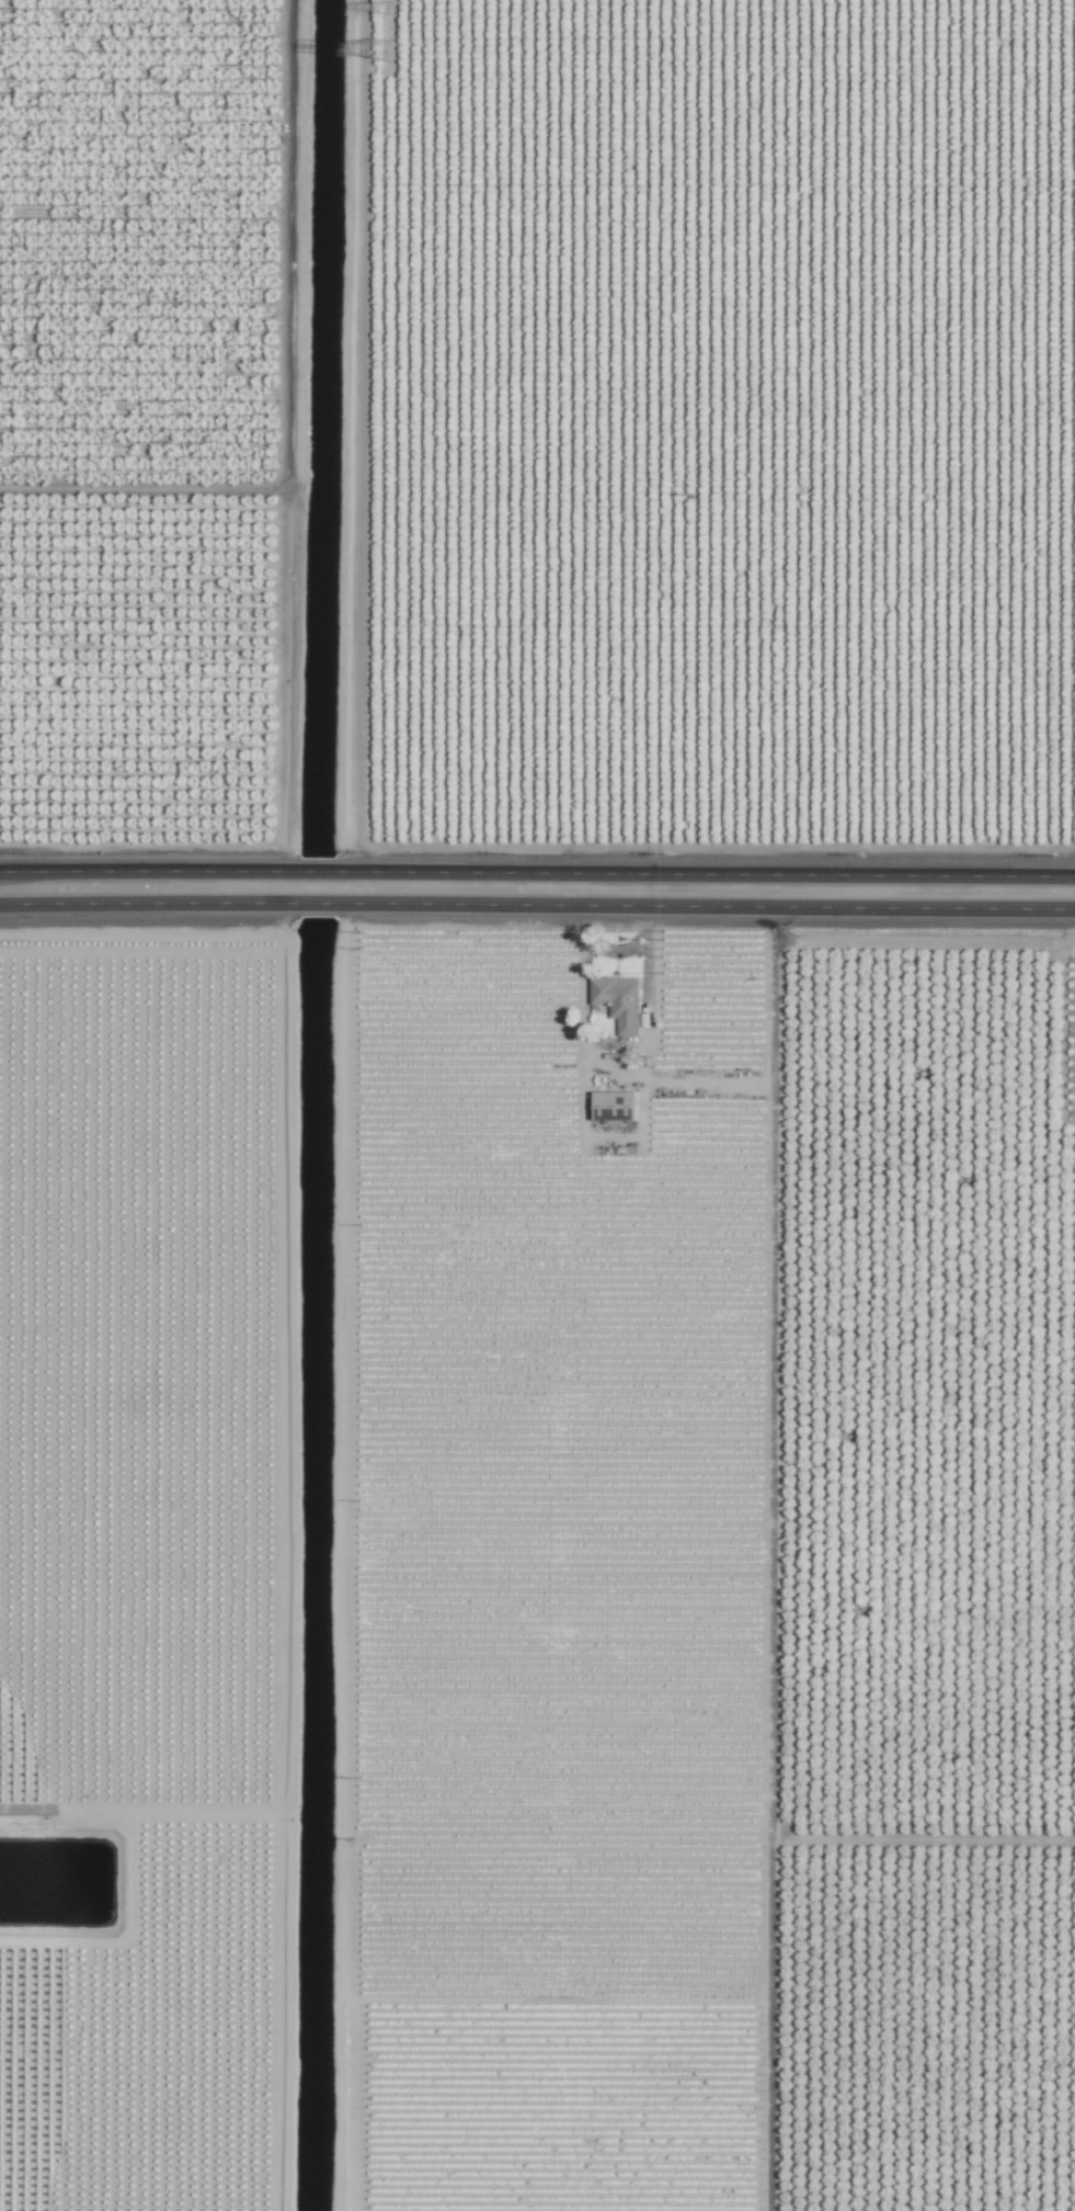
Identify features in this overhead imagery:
power tower: (389, 8)
power tower: (381, 50)
road: (148, 871)
road: (317, 871)
road: (706, 874)
road: (148, 903)
road: (318, 903)
road: (706, 906)
building: (620, 1001)
building: (615, 1105)

